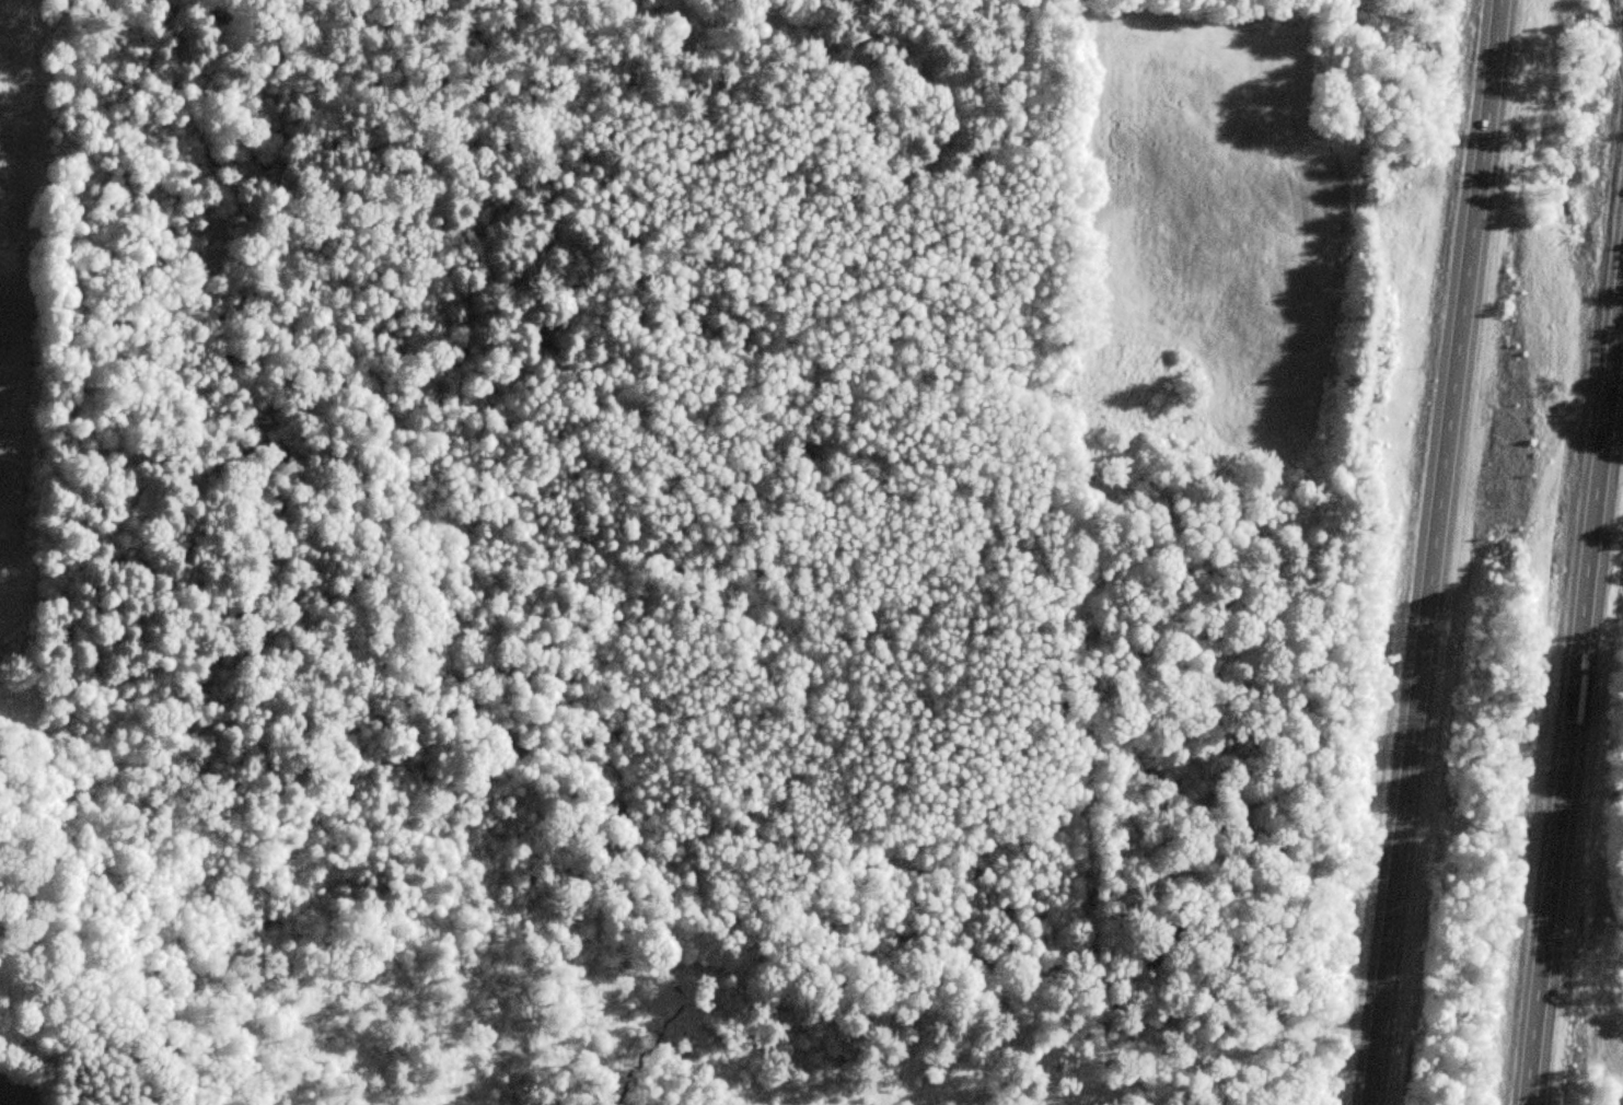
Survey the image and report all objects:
road: (1427, 552)
road: (1564, 693)

